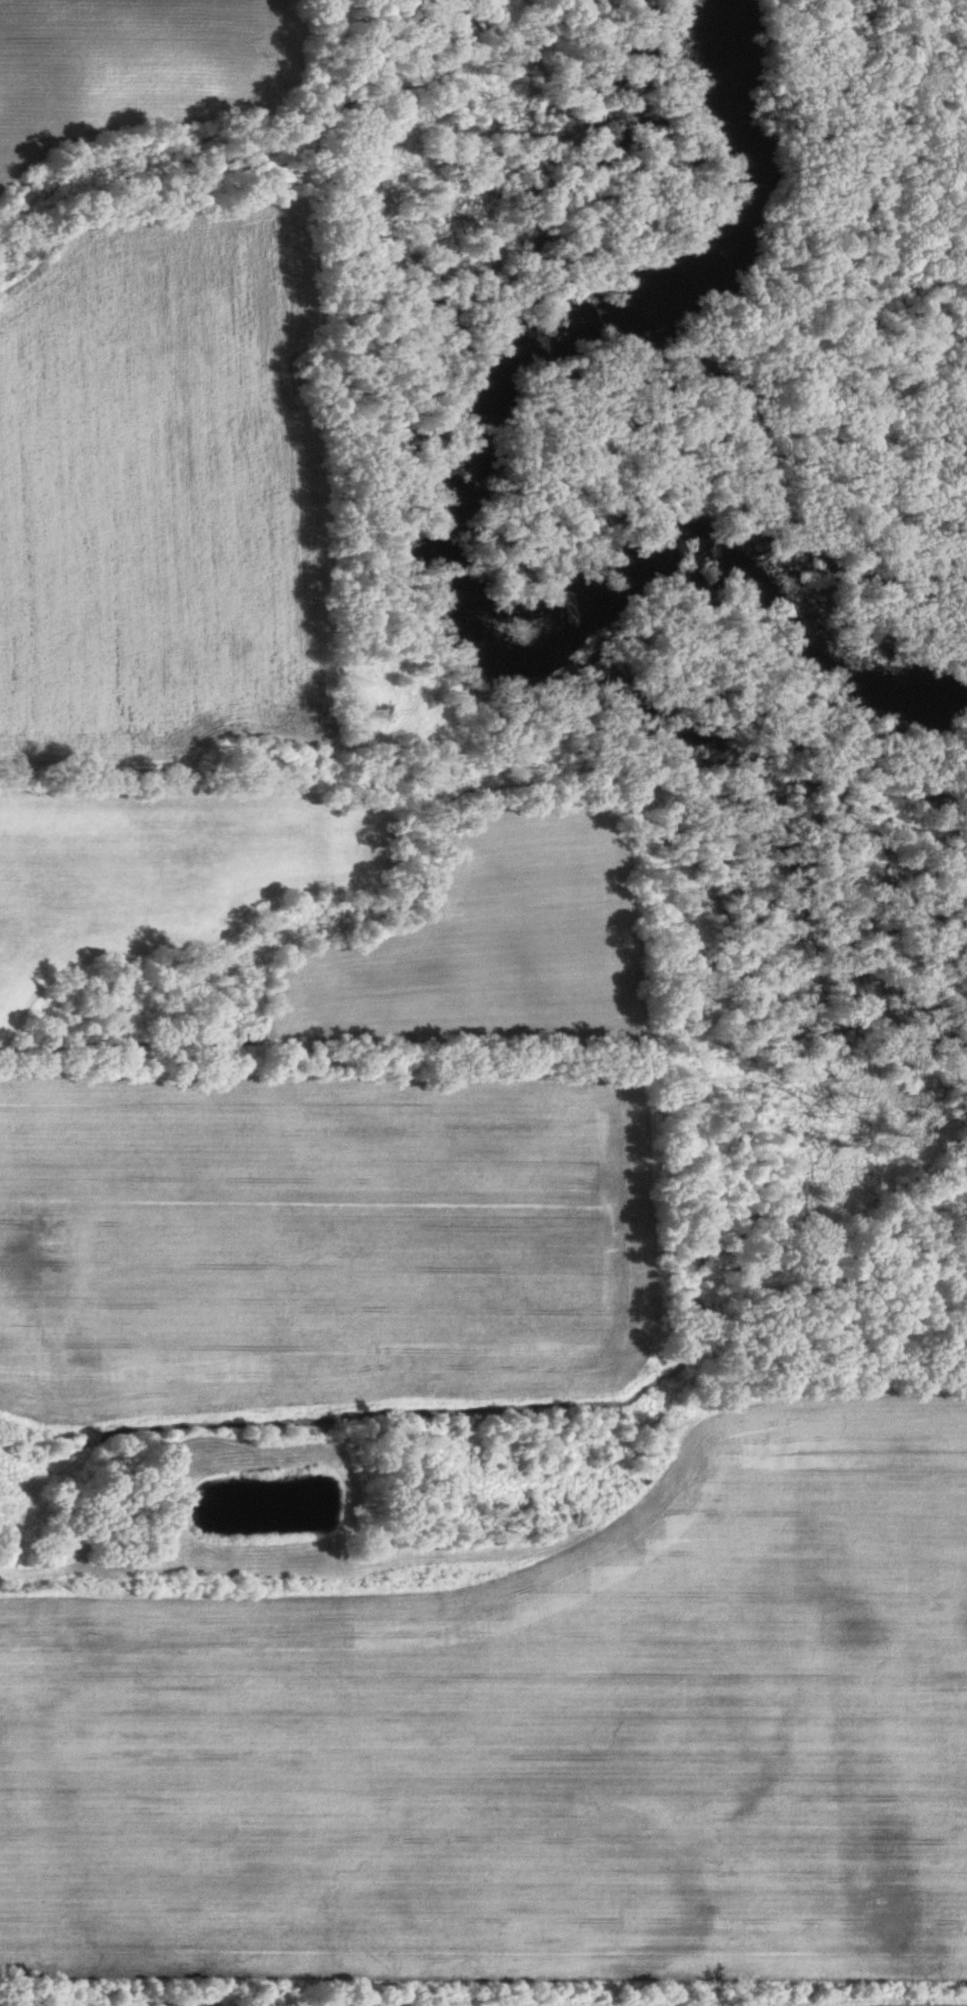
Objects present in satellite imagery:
river: (461, 537)

